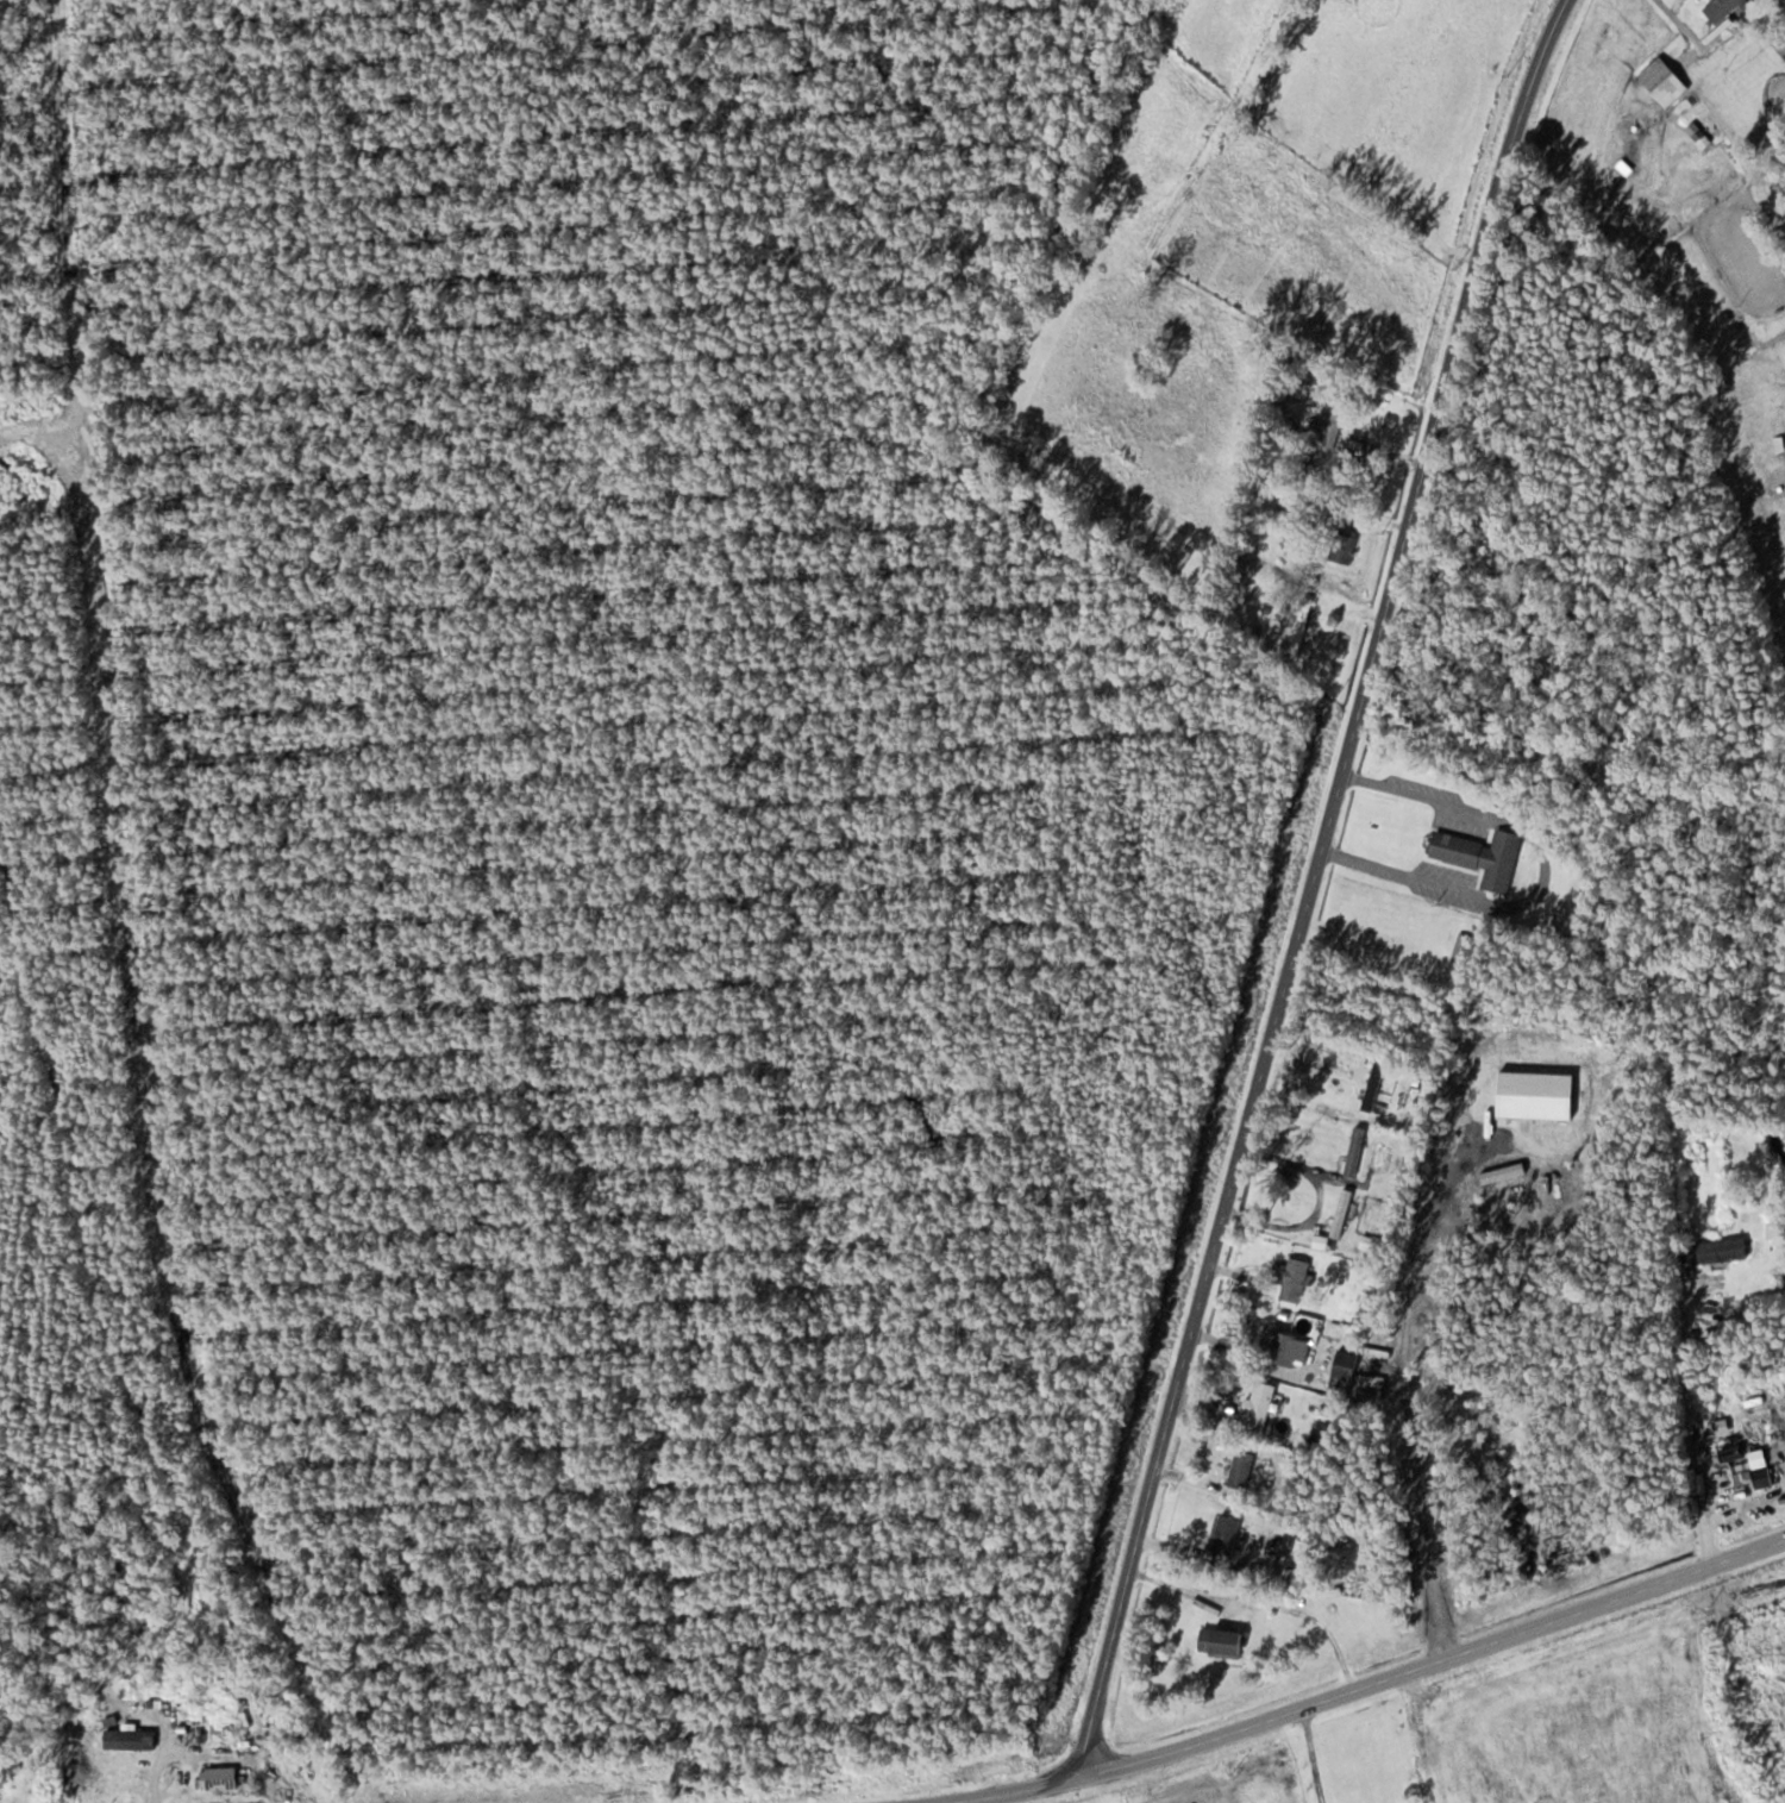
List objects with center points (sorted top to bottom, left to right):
building: (1722, 8)
building: (1664, 80)
building: (1333, 422)
building: (1344, 543)
building: (1304, 625)
building: (1483, 856)
road: (1317, 884)
building: (1461, 947)
building: (1373, 1085)
building: (1380, 1156)
building: (1341, 1213)
building: (1723, 1250)
building: (1295, 1279)
building: (1284, 1347)
building: (1346, 1370)
building: (1260, 1406)
building: (1244, 1469)
building: (1760, 1469)
building: (1226, 1535)
building: (1222, 1642)
road: (1432, 1663)
building: (198, 1680)
building: (221, 1732)
building: (174, 1757)
building: (219, 1778)
road: (1003, 1788)

